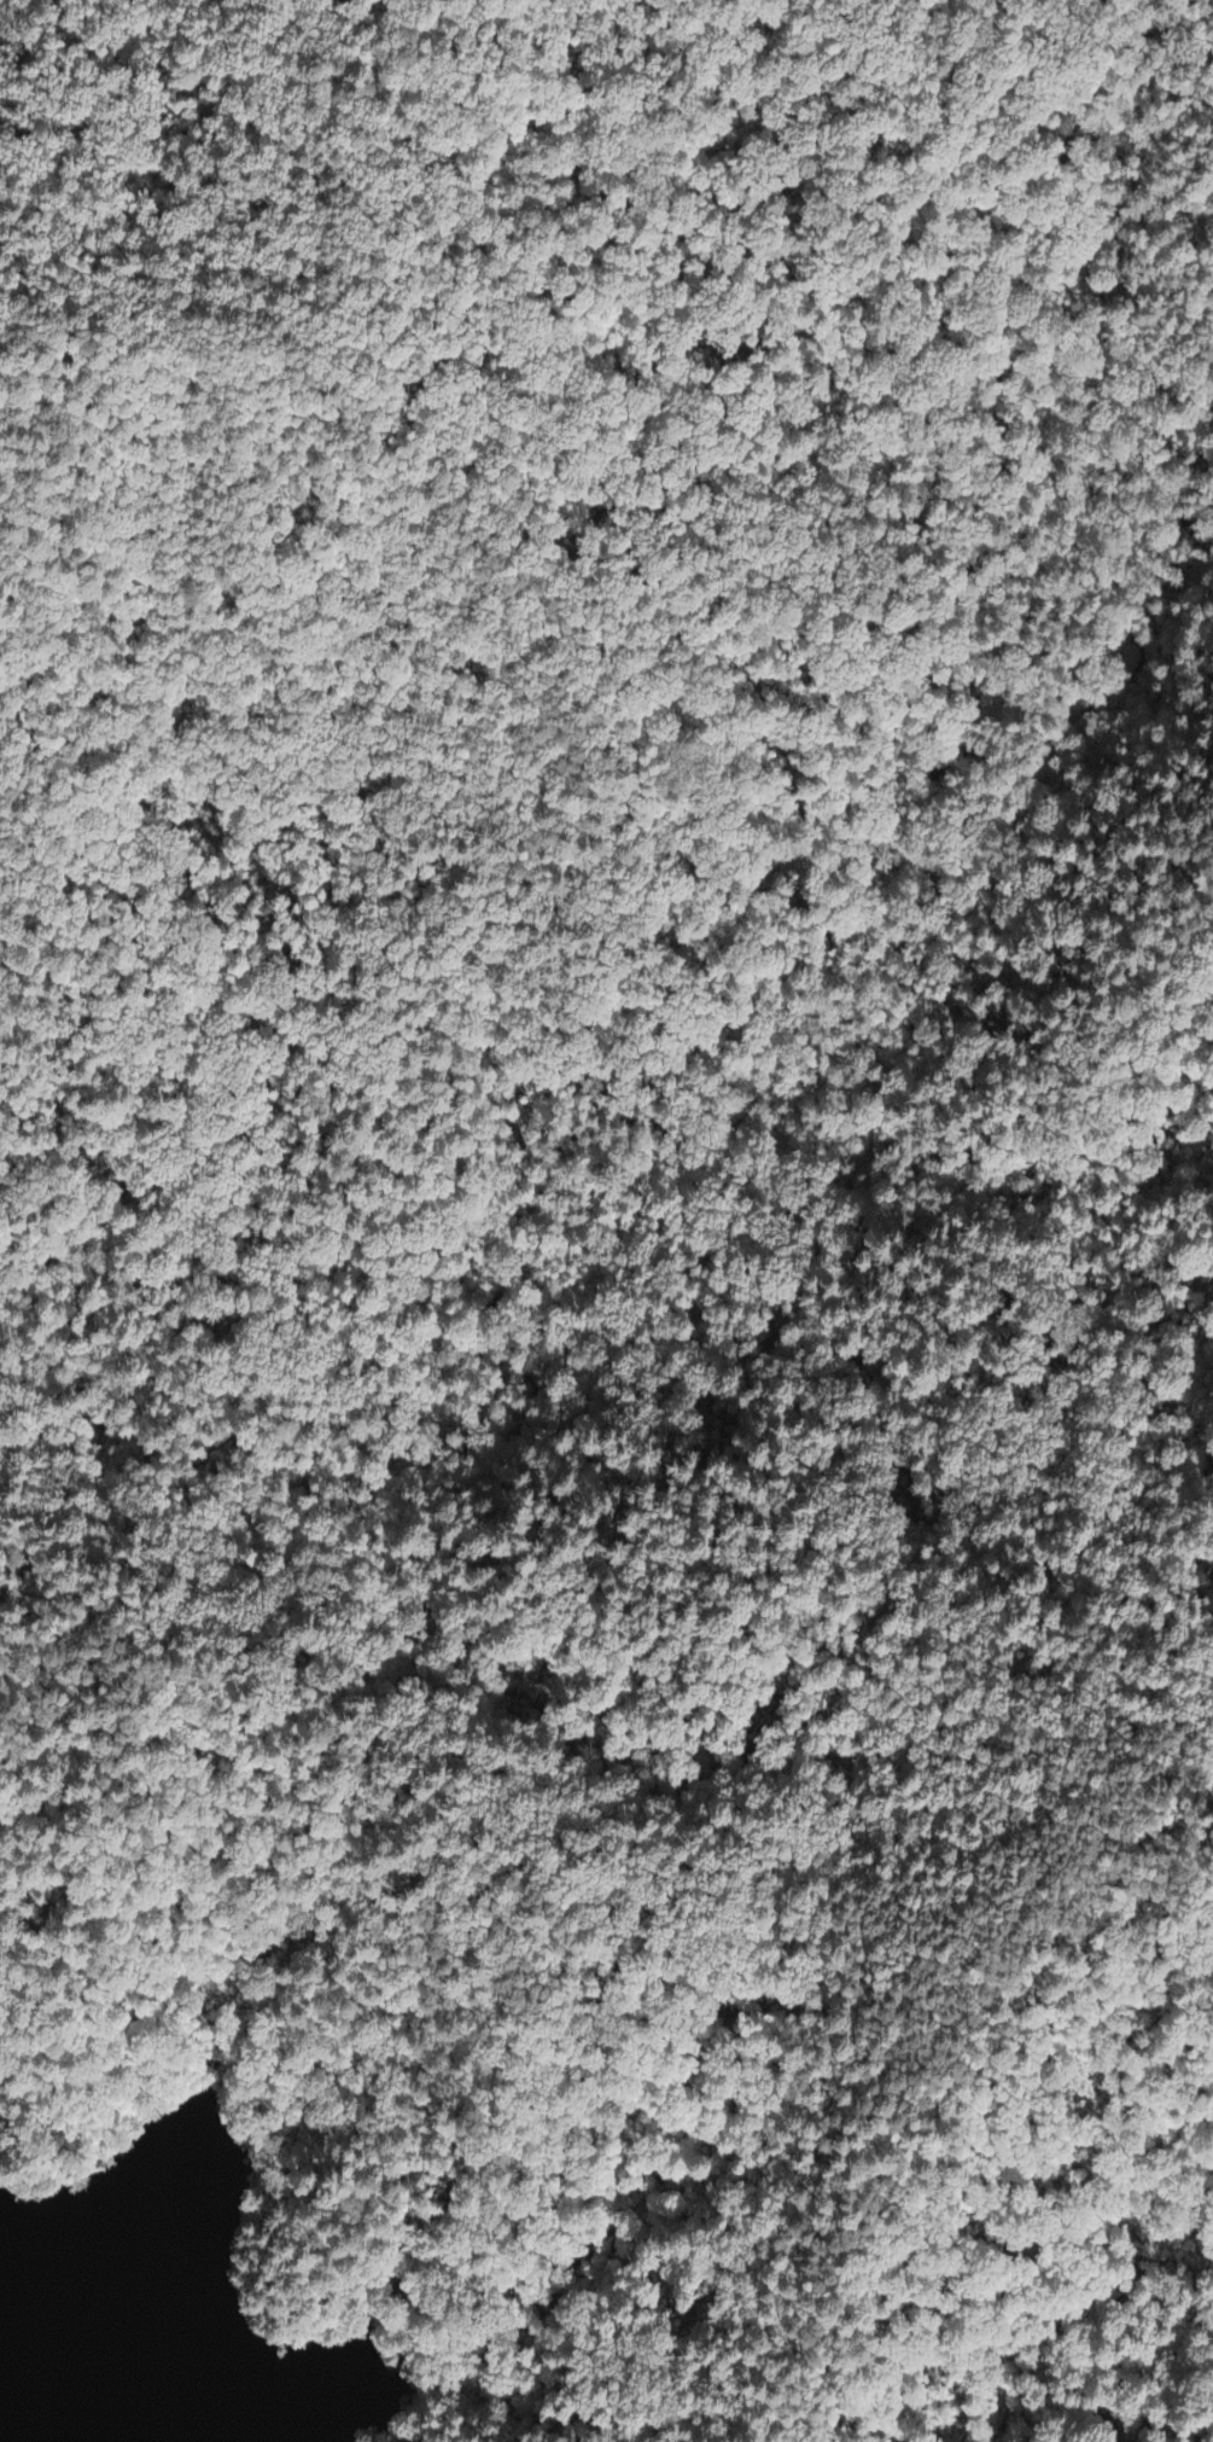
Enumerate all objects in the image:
road: (520, 969)

